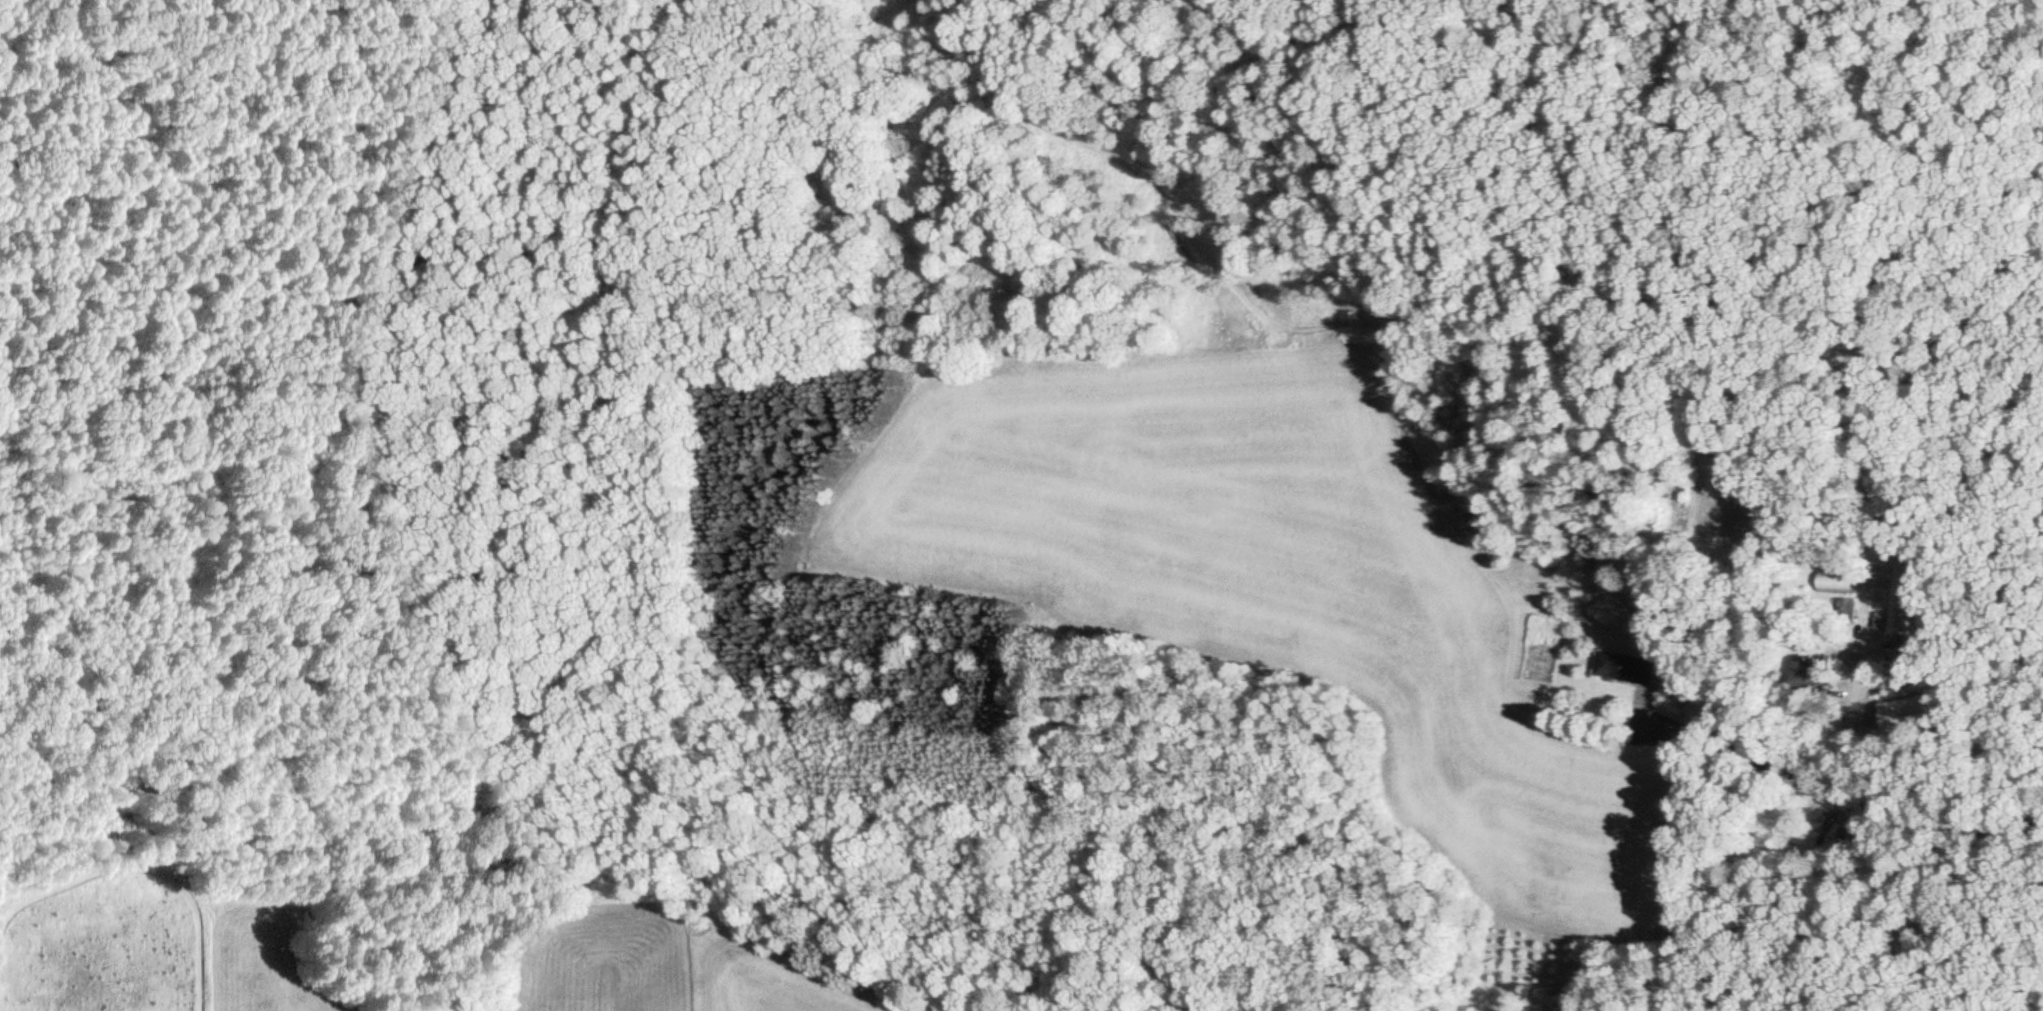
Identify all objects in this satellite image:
park: (1869, 166)
building: (1836, 585)
building: (1904, 600)
building: (1846, 614)
building: (1623, 670)
building: (1803, 675)
building: (1898, 678)
road: (1833, 876)

